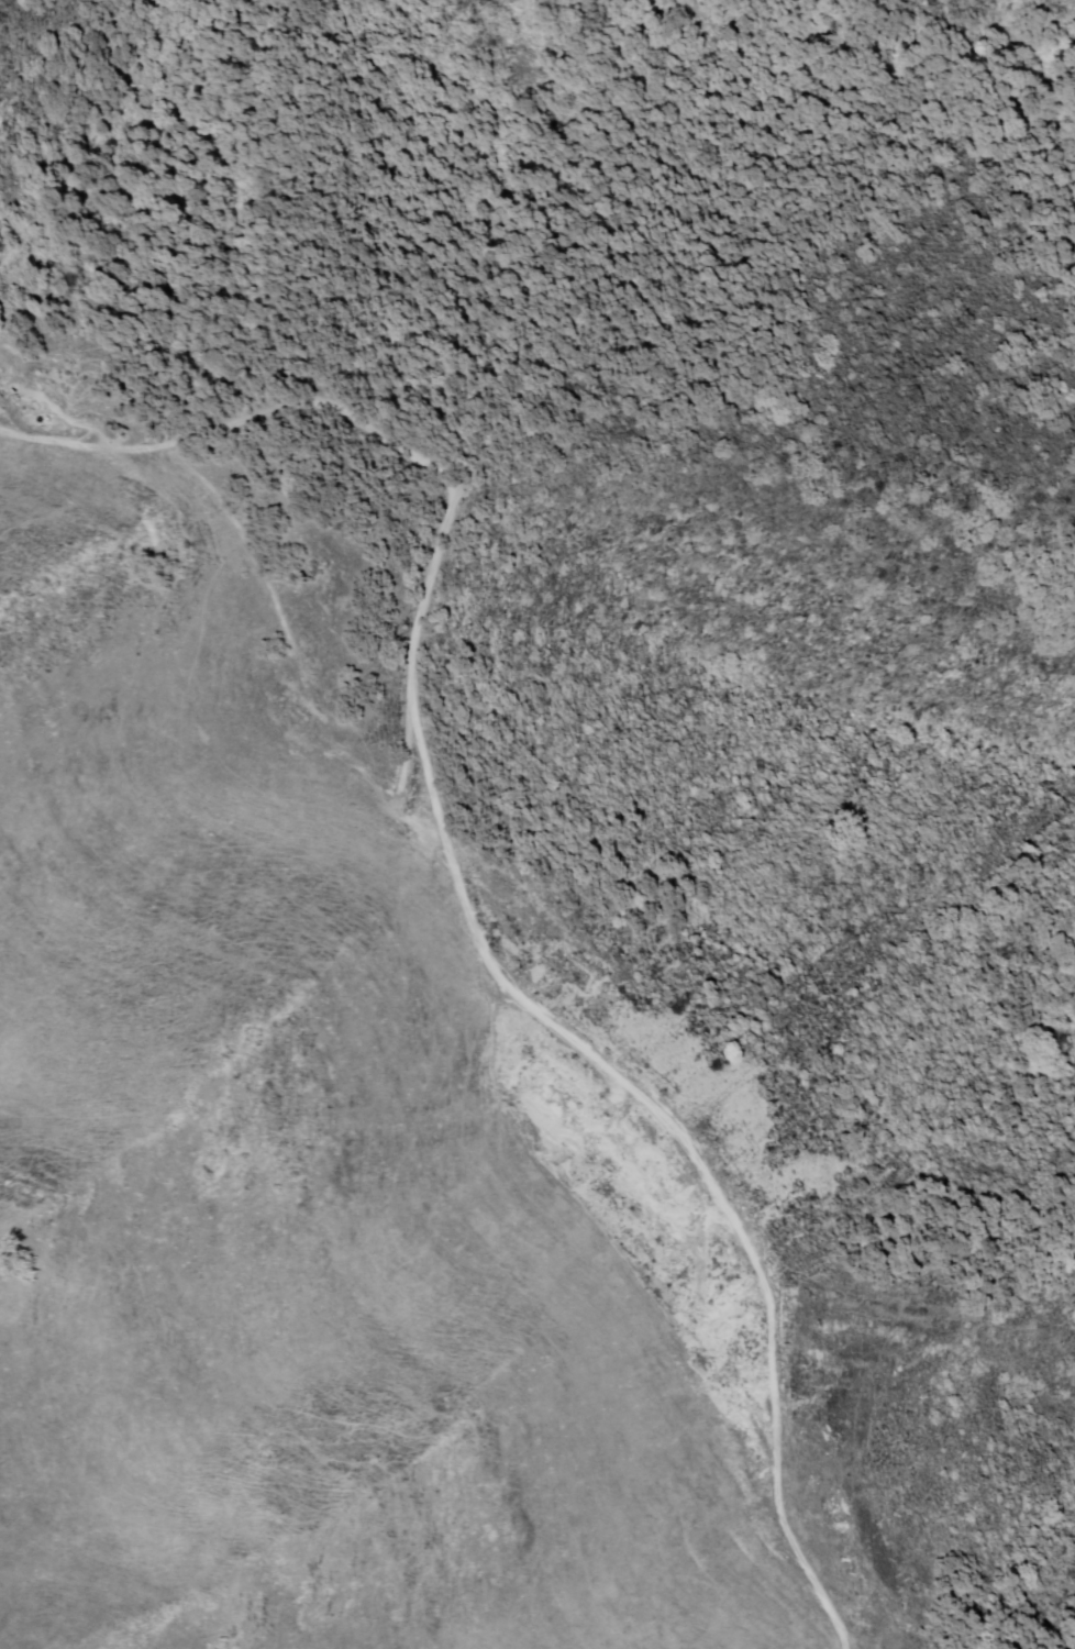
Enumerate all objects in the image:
road: (462, 883)

